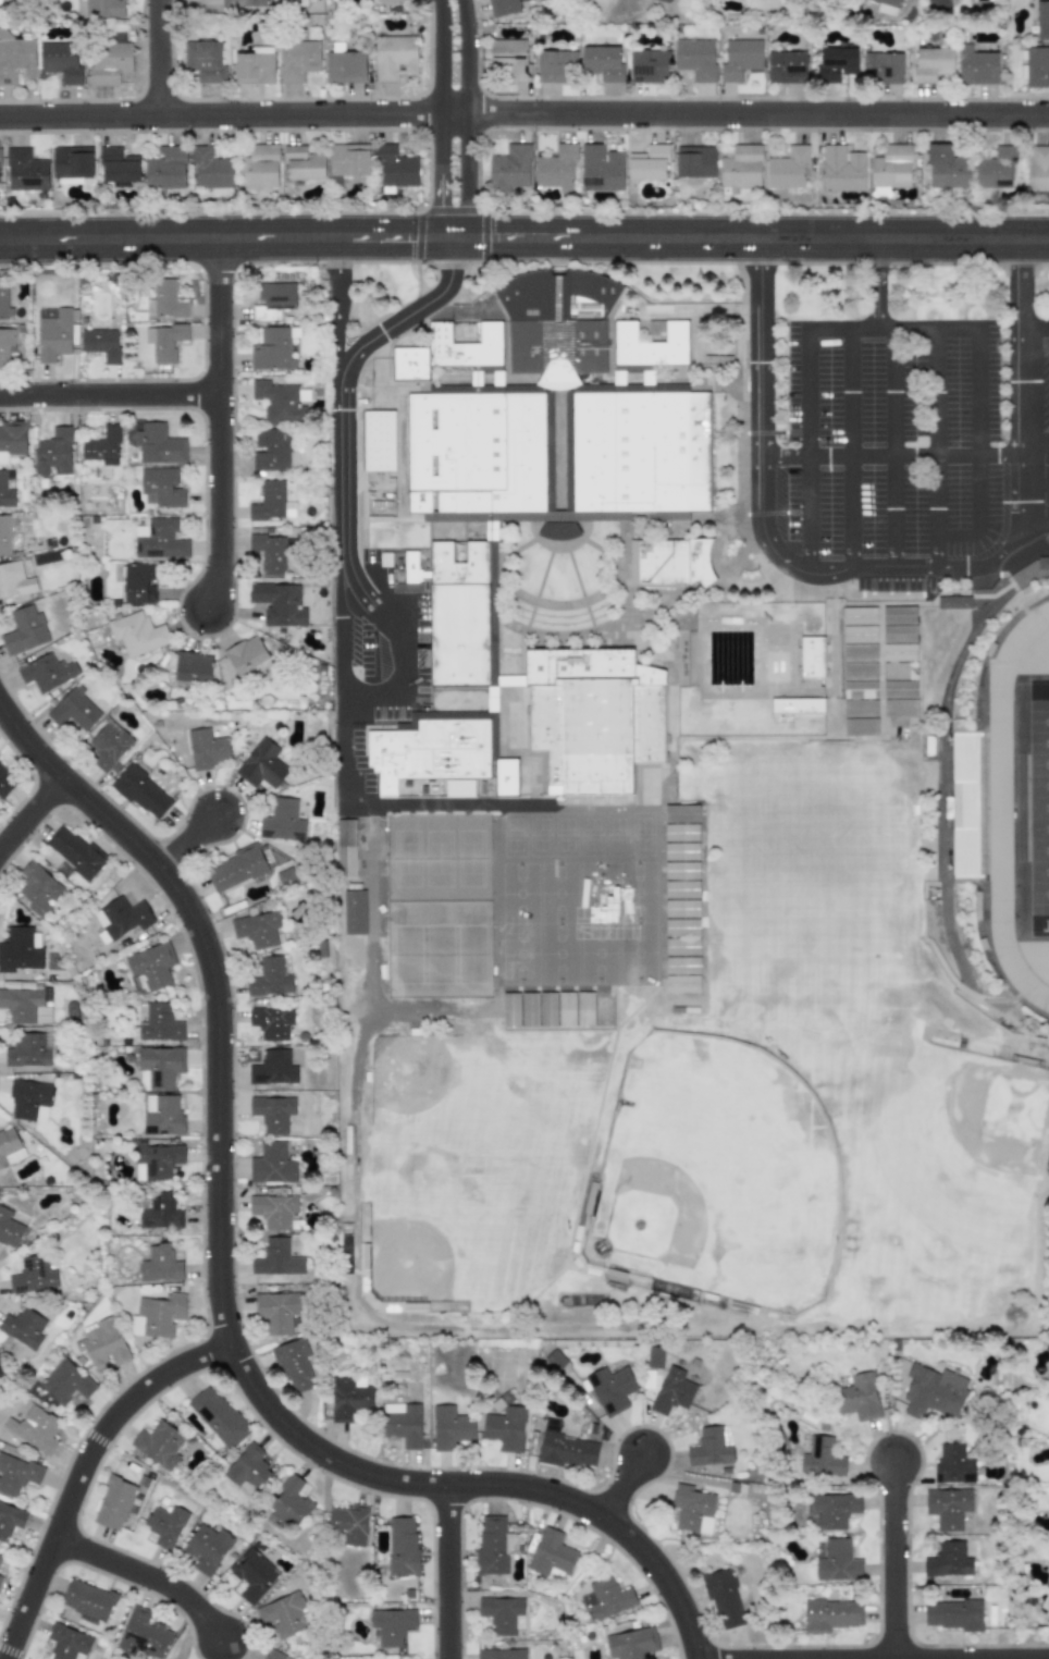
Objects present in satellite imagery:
building: (667, 0)
building: (388, 1)
building: (243, 3)
building: (938, 4)
building: (502, 7)
building: (887, 7)
building: (103, 9)
building: (1041, 20)
road: (159, 57)
building: (393, 57)
building: (509, 57)
building: (15, 58)
building: (695, 59)
building: (740, 59)
building: (297, 60)
building: (60, 61)
building: (203, 61)
building: (109, 62)
building: (602, 62)
building: (835, 62)
building: (931, 63)
building: (555, 65)
building: (1037, 65)
building: (255, 66)
building: (345, 66)
building: (649, 66)
building: (786, 66)
building: (976, 66)
building: (881, 67)
road: (523, 113)
road: (436, 120)
road: (477, 122)
building: (348, 159)
building: (694, 161)
building: (72, 162)
building: (303, 163)
building: (649, 163)
building: (118, 165)
building: (258, 167)
building: (741, 167)
building: (891, 167)
building: (946, 167)
building: (165, 168)
building: (210, 168)
building: (395, 168)
building: (556, 168)
building: (601, 168)
building: (787, 168)
building: (1039, 168)
building: (509, 169)
building: (842, 169)
building: (995, 169)
building: (25, 170)
building: (0, 183)
traffic signals: (436, 202)
road: (395, 237)
traffic signals: (406, 237)
traffic signals: (495, 237)
road: (519, 237)
road: (109, 238)
road: (279, 238)
road: (817, 238)
traffic signals: (455, 273)
road: (879, 284)
building: (166, 299)
building: (4, 300)
building: (273, 300)
road: (337, 308)
building: (557, 321)
road: (1036, 329)
road: (896, 330)
building: (52, 333)
building: (164, 341)
building: (101, 343)
building: (651, 344)
building: (5, 345)
building: (464, 346)
building: (273, 349)
building: (410, 364)
road: (346, 370)
road: (1023, 393)
road: (108, 394)
building: (277, 402)
road: (218, 425)
building: (11, 439)
building: (378, 441)
building: (158, 445)
building: (102, 446)
road: (853, 448)
building: (270, 450)
road: (896, 450)
road: (938, 450)
building: (595, 452)
building: (651, 452)
building: (695, 452)
road: (811, 452)
road: (980, 452)
building: (53, 453)
building: (418, 453)
building: (461, 453)
building: (520, 453)
road: (906, 457)
road: (764, 463)
building: (161, 488)
road: (1036, 490)
building: (5, 491)
building: (273, 501)
road: (1036, 528)
building: (4, 534)
building: (159, 539)
road: (1035, 550)
building: (268, 553)
building: (674, 562)
building: (1042, 563)
building: (410, 566)
building: (26, 568)
road: (964, 569)
building: (14, 580)
building: (138, 583)
building: (952, 602)
building: (279, 604)
building: (458, 613)
building: (899, 615)
building: (859, 616)
road: (340, 625)
building: (24, 631)
building: (136, 634)
building: (859, 634)
building: (899, 634)
road: (405, 644)
building: (899, 652)
building: (859, 653)
building: (245, 654)
building: (812, 656)
building: (193, 667)
building: (899, 671)
building: (860, 672)
building: (47, 673)
building: (899, 689)
building: (860, 690)
building: (797, 705)
building: (860, 708)
building: (900, 708)
building: (75, 710)
building: (593, 716)
building: (860, 726)
building: (108, 747)
building: (207, 749)
building: (433, 749)
road: (942, 763)
building: (261, 764)
building: (505, 776)
building: (5, 782)
building: (141, 792)
road: (359, 804)
stadium: (1009, 804)
track: (1007, 806)
park: (1038, 806)
road: (30, 812)
building: (680, 813)
building: (282, 821)
building: (680, 833)
road: (185, 840)
building: (345, 848)
building: (74, 851)
building: (680, 851)
park: (439, 858)
park: (472, 858)
park: (405, 859)
building: (235, 869)
building: (681, 871)
park: (814, 885)
building: (38, 888)
building: (681, 889)
building: (681, 909)
building: (353, 912)
building: (122, 917)
building: (513, 925)
building: (681, 927)
building: (257, 929)
building: (681, 946)
building: (513, 948)
park: (406, 949)
park: (439, 949)
park: (473, 949)
building: (18, 950)
building: (150, 964)
building: (681, 966)
building: (513, 970)
building: (269, 978)
building: (681, 983)
building: (138, 984)
road: (213, 986)
building: (25, 1006)
building: (603, 1008)
building: (510, 1009)
building: (529, 1009)
building: (547, 1009)
building: (566, 1009)
building: (584, 1009)
building: (271, 1022)
building: (159, 1023)
building: (27, 1050)
building: (159, 1067)
building: (273, 1068)
building: (29, 1101)
building: (272, 1113)
building: (162, 1116)
building: (9, 1146)
building: (157, 1160)
building: (271, 1164)
park: (716, 1173)
building: (273, 1209)
building: (160, 1212)
building: (9, 1229)
building: (276, 1258)
building: (159, 1264)
building: (34, 1277)
building: (276, 1311)
building: (157, 1316)
building: (23, 1327)
building: (103, 1343)
building: (654, 1356)
building: (555, 1360)
building: (289, 1367)
building: (1, 1373)
building: (66, 1381)
building: (610, 1389)
building: (672, 1391)
building: (933, 1391)
building: (857, 1397)
building: (349, 1398)
building: (220, 1417)
building: (403, 1423)
building: (449, 1427)
building: (34, 1428)
building: (505, 1428)
building: (158, 1443)
building: (709, 1448)
building: (566, 1450)
building: (820, 1457)
building: (952, 1463)
building: (250, 1465)
road: (79, 1471)
building: (16, 1474)
road: (476, 1484)
road: (620, 1486)
building: (289, 1502)
building: (113, 1503)
building: (947, 1508)
building: (692, 1509)
building: (830, 1510)
building: (10, 1520)
building: (350, 1524)
building: (164, 1525)
building: (402, 1546)
building: (491, 1547)
building: (207, 1548)
building: (552, 1554)
building: (0, 1556)
road: (891, 1559)
building: (948, 1560)
building: (837, 1562)
road: (446, 1571)
building: (252, 1575)
road: (145, 1576)
building: (0, 1578)
building: (608, 1597)
building: (723, 1597)
building: (87, 1599)
building: (502, 1614)
building: (830, 1614)
building: (952, 1614)
building: (283, 1615)
building: (391, 1625)
building: (143, 1635)
building: (66, 1642)
building: (631, 1644)
building: (501, 1654)
building: (273, 1655)

